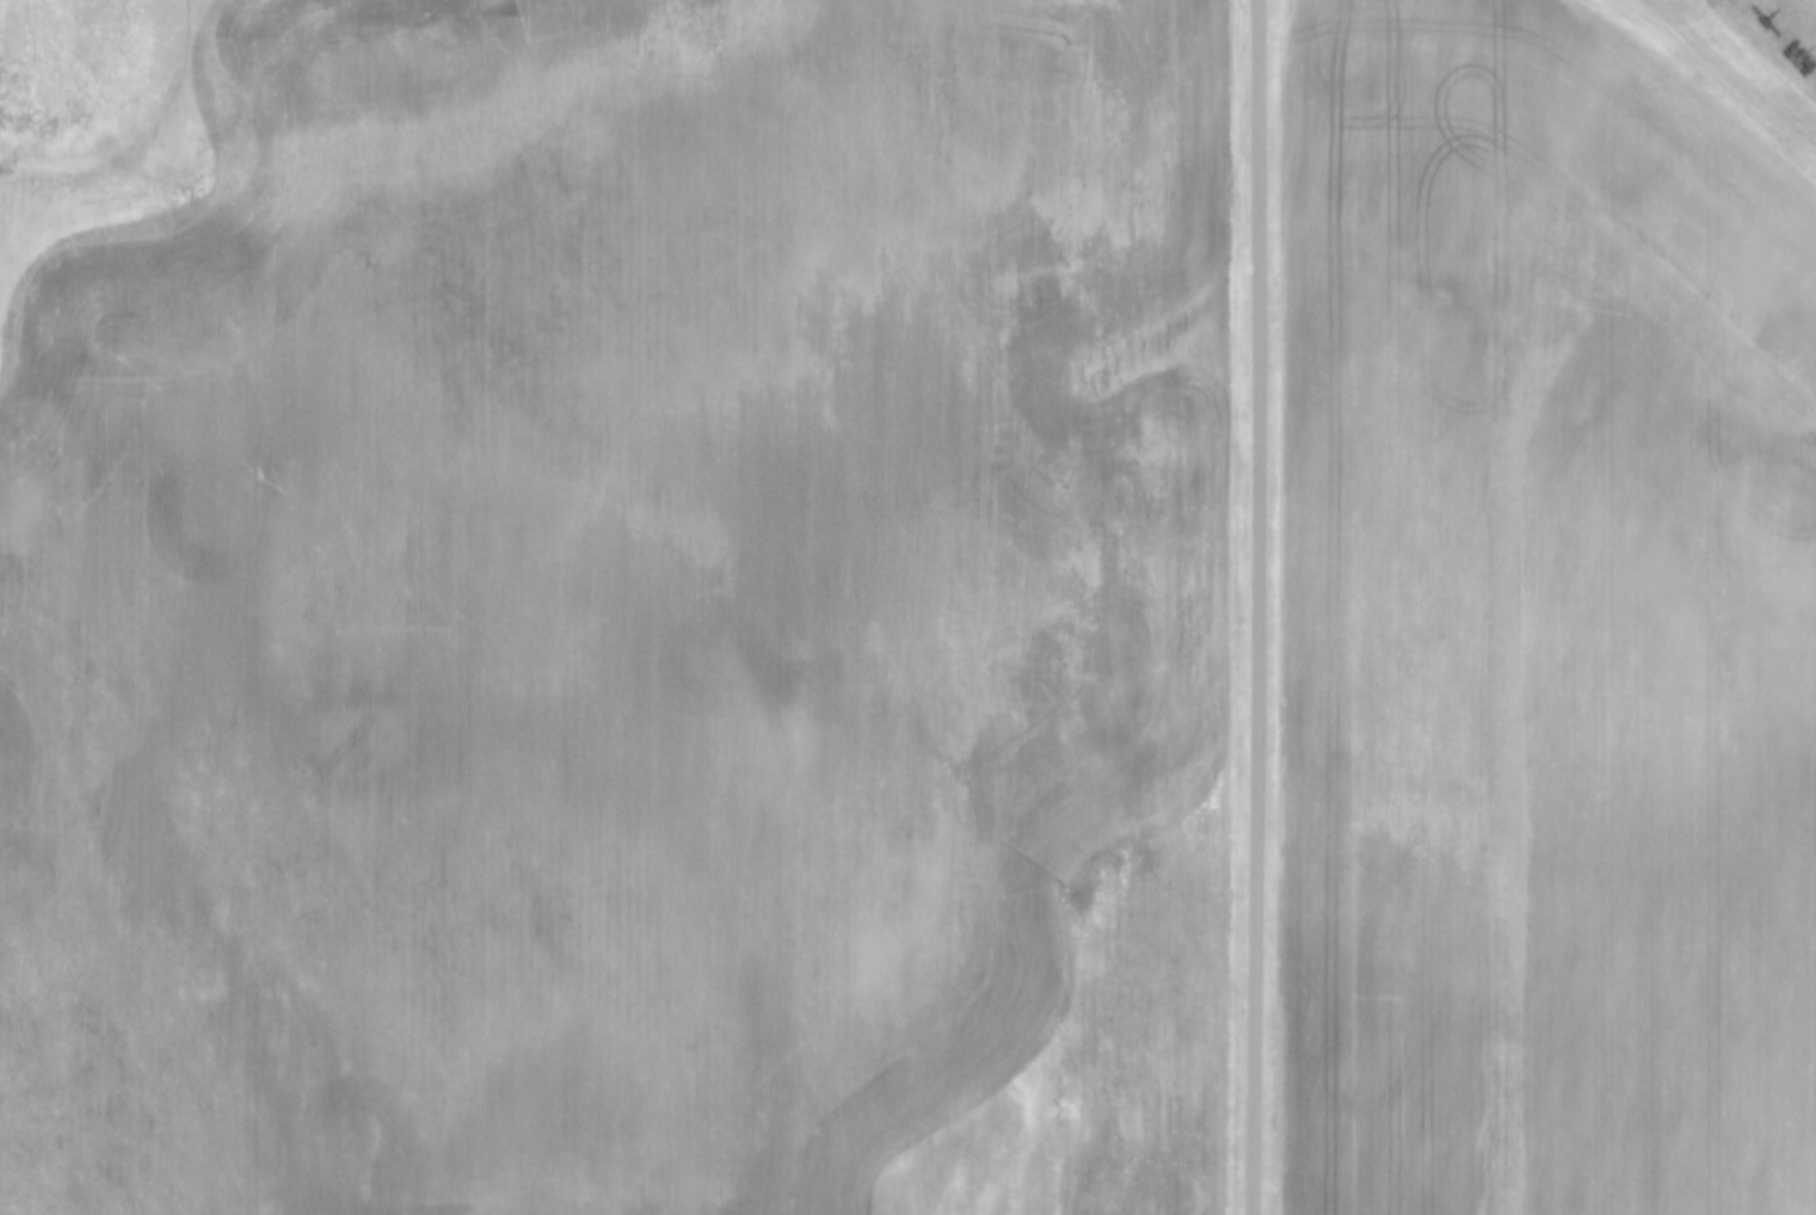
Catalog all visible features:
airport runway: (1731, 76)
road: (1263, 607)

